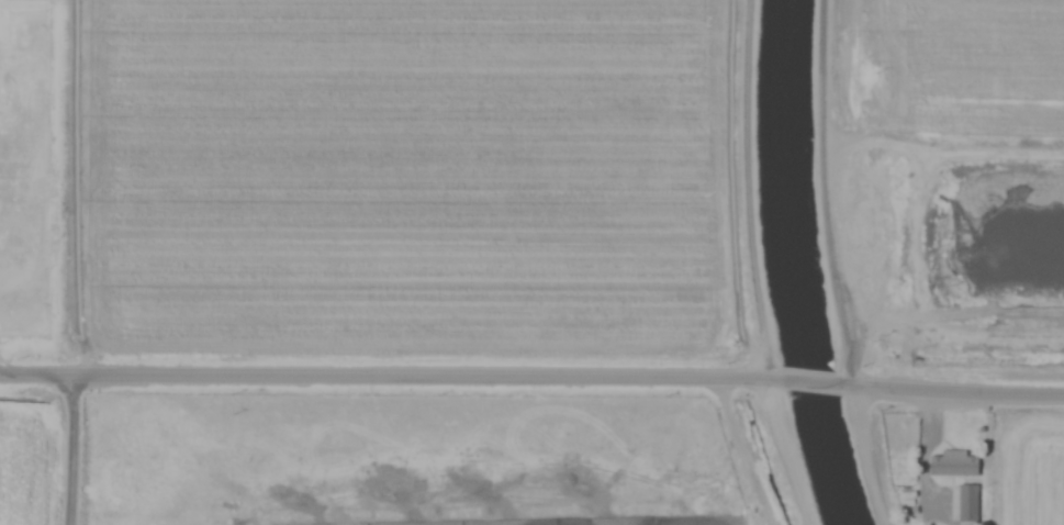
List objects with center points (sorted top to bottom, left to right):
crop: (432, 237)
road: (835, 265)
road: (531, 372)
road: (70, 448)
building: (959, 463)
building: (971, 504)

